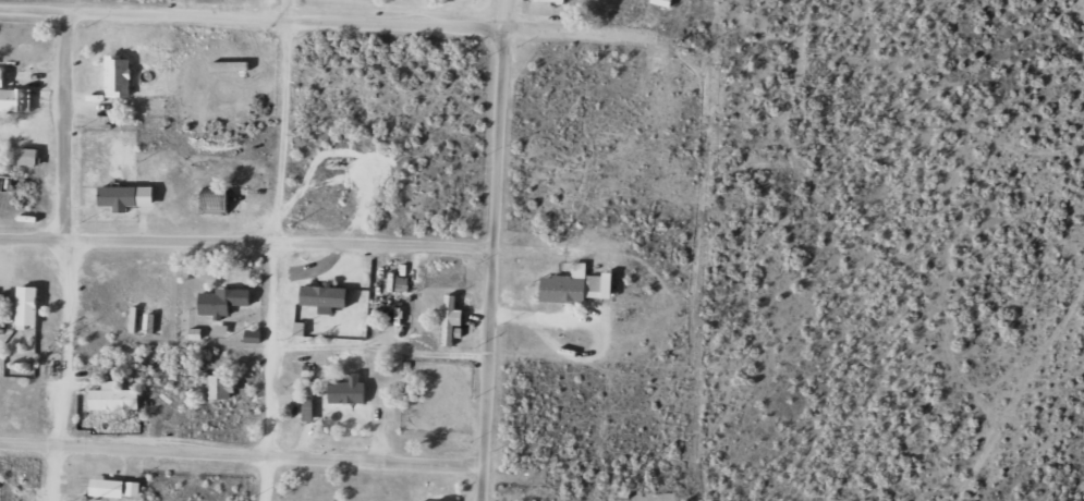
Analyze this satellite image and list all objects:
building: (665, 2)
building: (613, 3)
road: (329, 24)
building: (119, 76)
building: (14, 96)
building: (29, 155)
building: (217, 200)
road: (247, 244)
road: (495, 249)
road: (66, 257)
building: (431, 285)
building: (577, 285)
building: (223, 300)
building: (28, 306)
road: (382, 344)
road: (275, 372)
building: (223, 386)
building: (348, 391)
building: (115, 396)
road: (242, 453)
building: (623, 493)
building: (443, 500)

